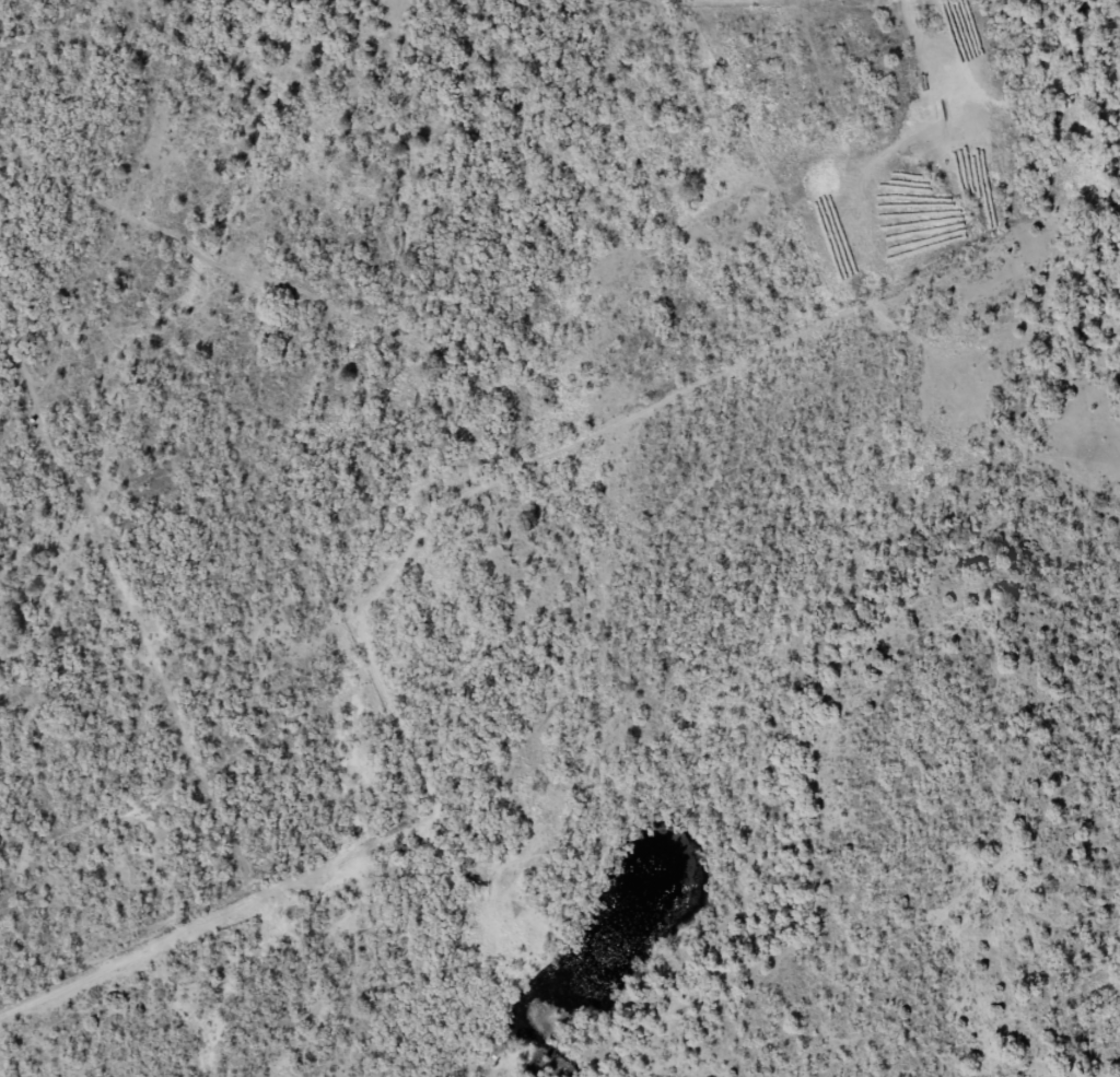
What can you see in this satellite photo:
road: (779, 4)

